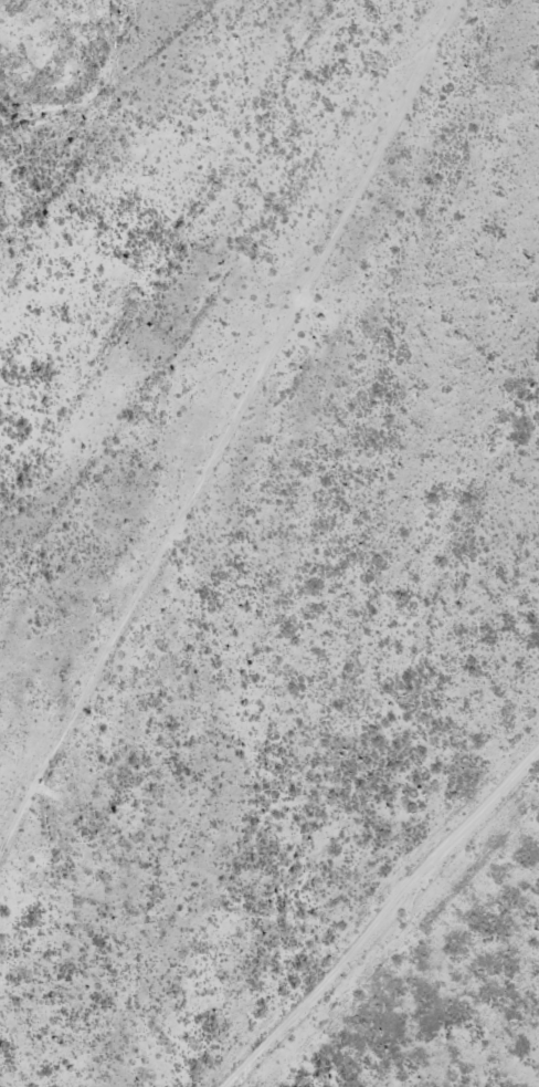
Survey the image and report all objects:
road: (220, 399)
road: (384, 931)

